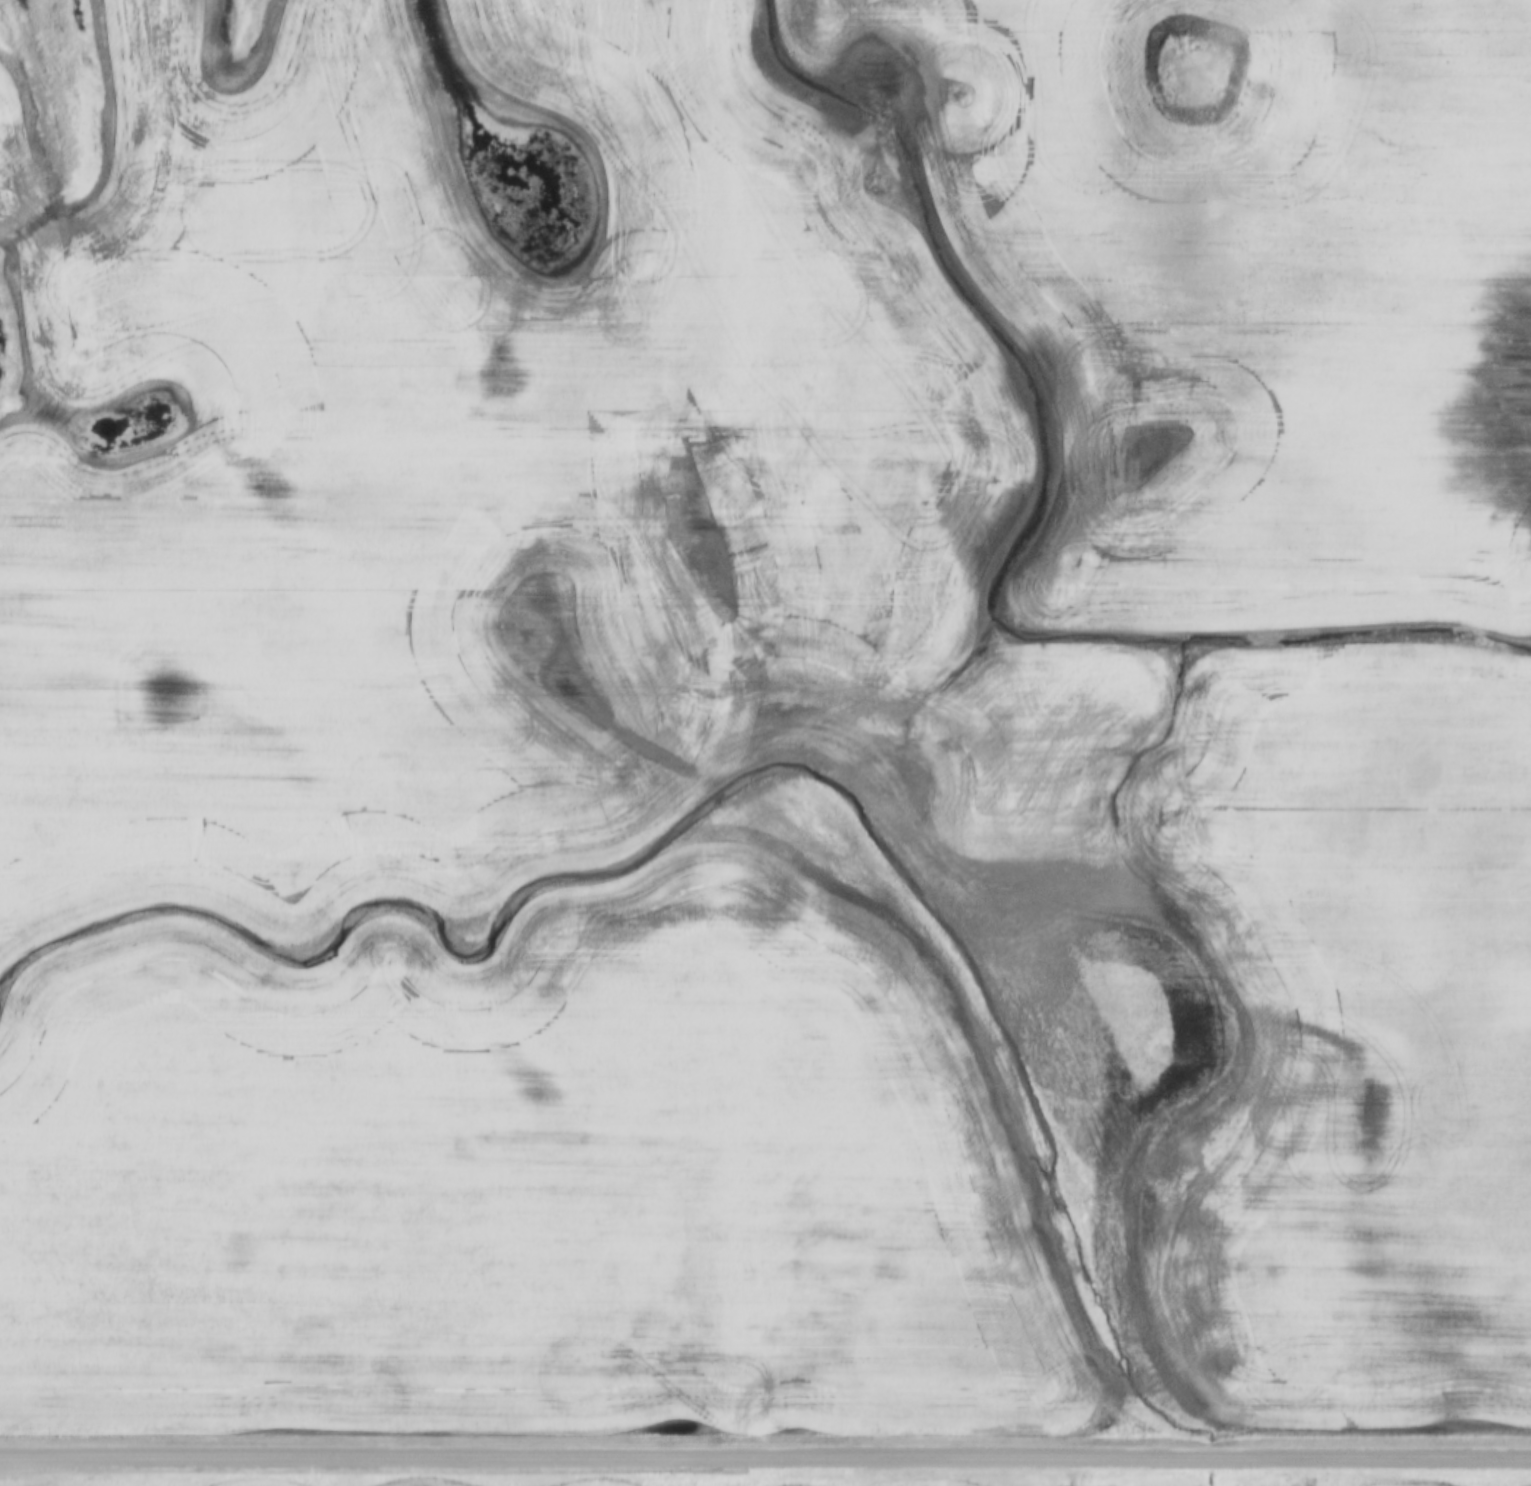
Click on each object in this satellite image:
road: (765, 1459)

